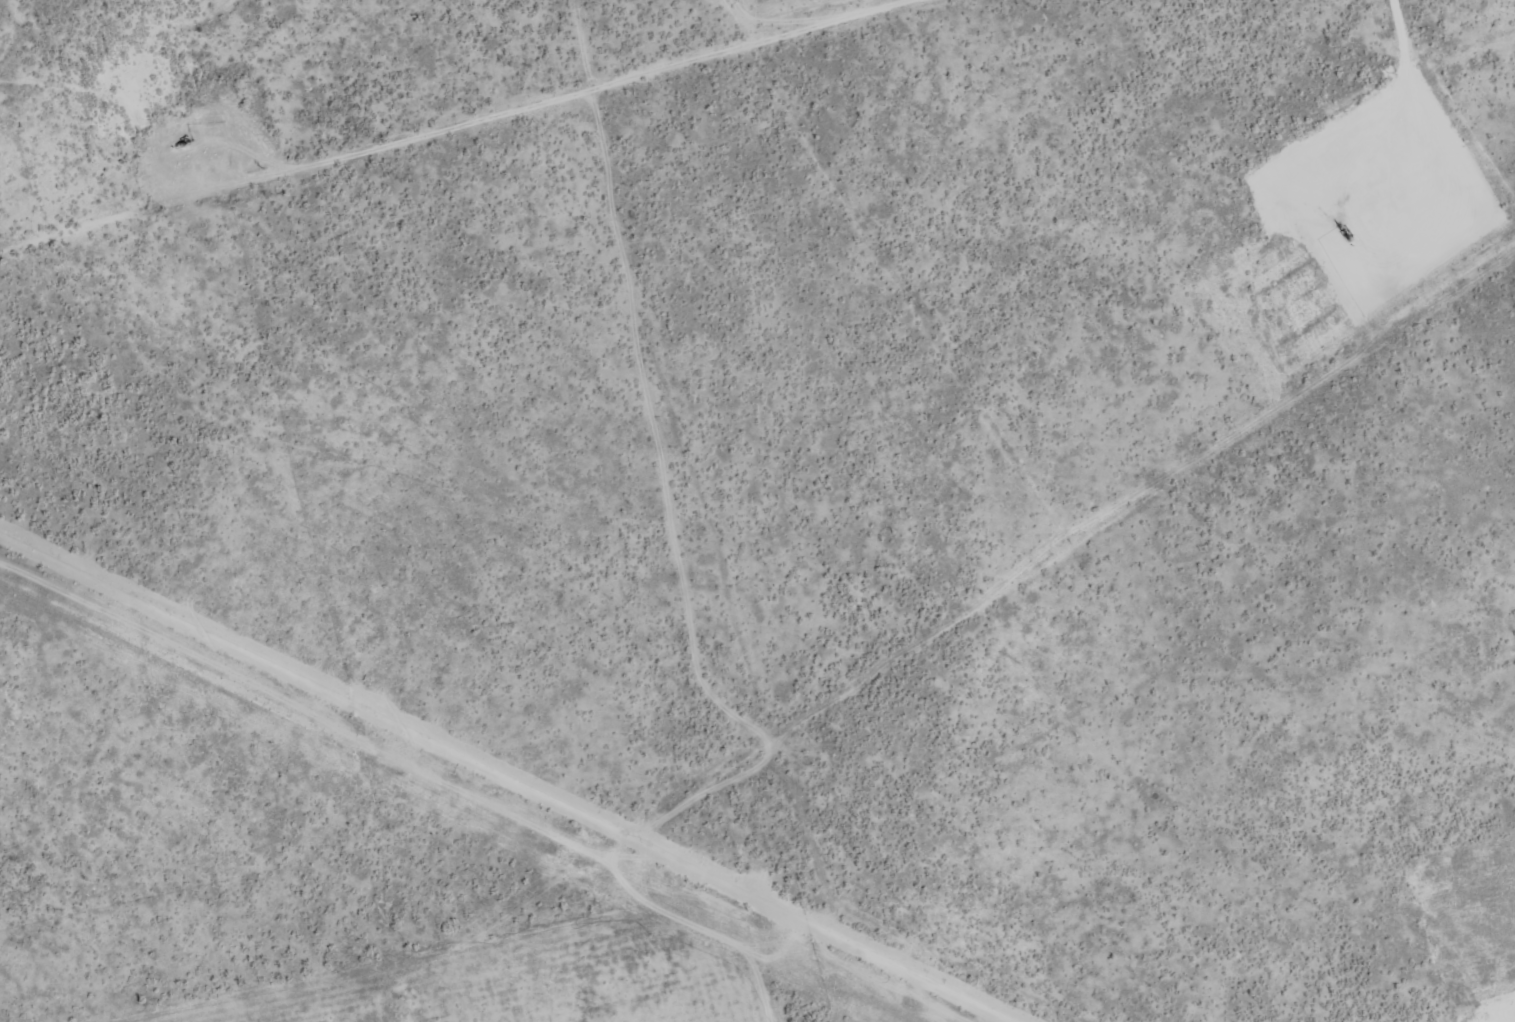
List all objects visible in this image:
road: (676, 101)

